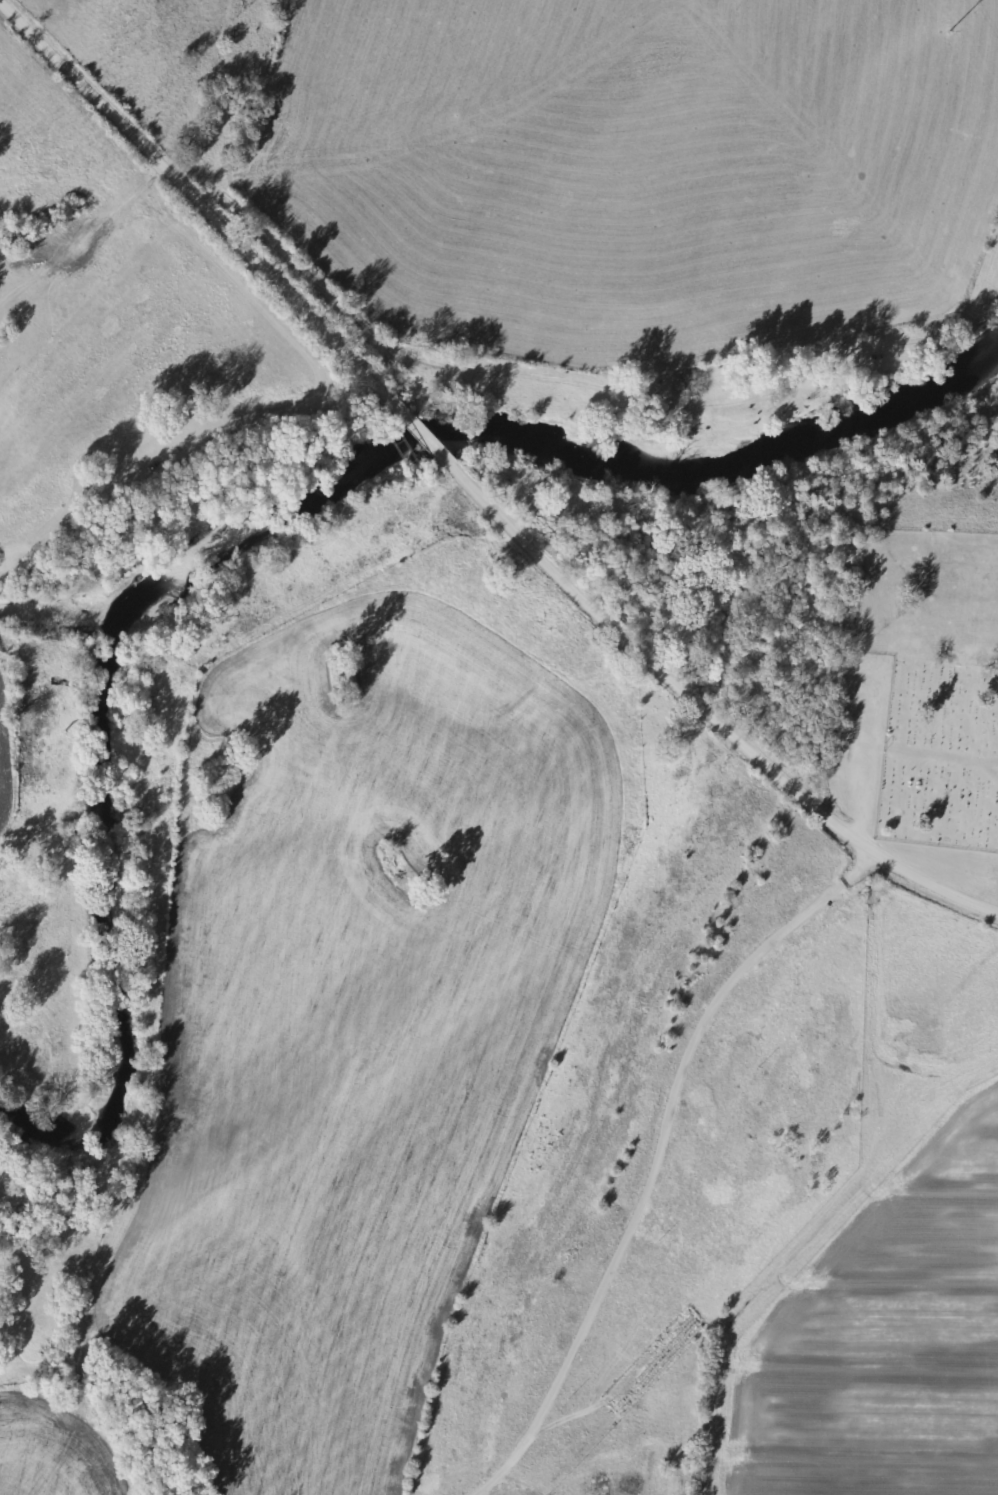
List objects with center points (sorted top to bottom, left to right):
road: (280, 117)
road: (200, 199)
road: (427, 436)
river: (782, 457)
river: (317, 493)
road: (717, 715)
park: (939, 756)
river: (125, 926)
road: (631, 1166)

